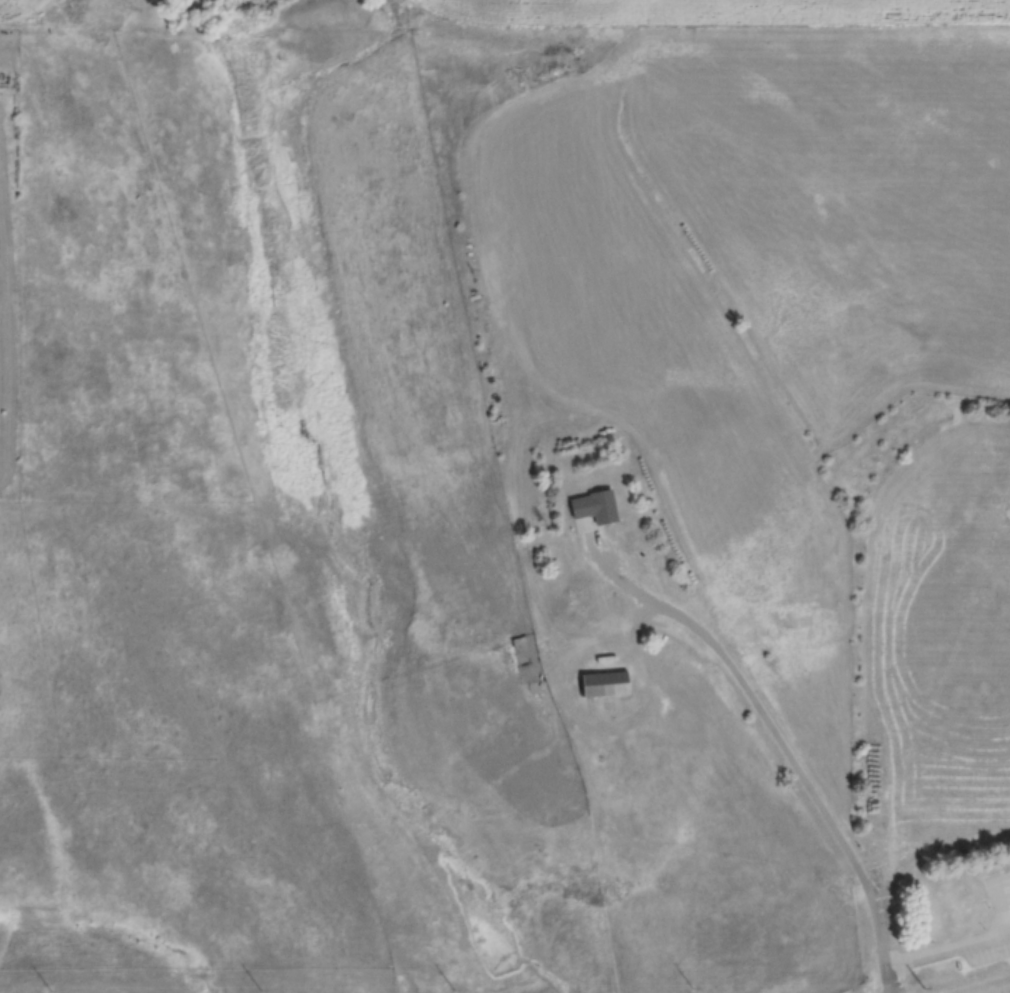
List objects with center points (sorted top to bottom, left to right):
building: (594, 505)
building: (603, 682)
road: (896, 864)
building: (963, 901)

